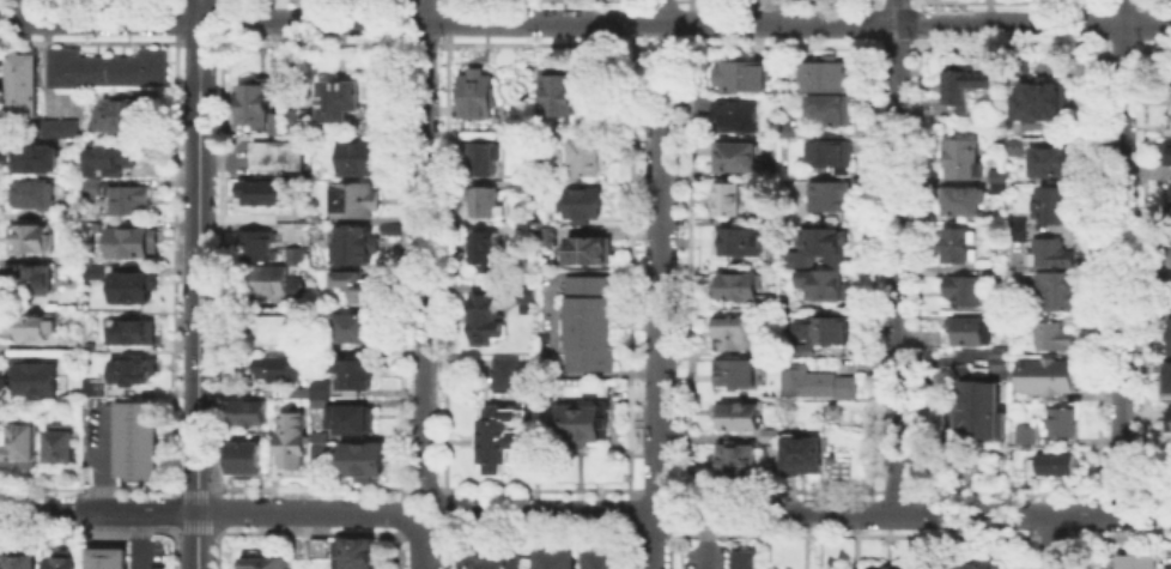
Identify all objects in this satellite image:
road: (201, 0)
road: (661, 11)
road: (585, 20)
road: (201, 40)
road: (193, 44)
road: (210, 44)
building: (1020, 60)
road: (638, 61)
road: (679, 63)
building: (104, 66)
building: (823, 73)
building: (742, 74)
building: (966, 80)
building: (26, 86)
building: (478, 92)
building: (560, 95)
building: (338, 98)
building: (253, 99)
building: (1040, 99)
building: (939, 105)
building: (830, 107)
building: (728, 110)
building: (127, 115)
building: (297, 116)
building: (590, 119)
building: (275, 121)
building: (59, 126)
building: (387, 126)
building: (1169, 126)
building: (791, 129)
building: (232, 131)
building: (387, 138)
building: (522, 139)
building: (618, 141)
building: (1017, 146)
building: (1166, 151)
building: (279, 153)
building: (831, 153)
parking lot: (238, 156)
building: (356, 156)
building: (483, 157)
building: (584, 157)
building: (733, 157)
building: (961, 157)
building: (1050, 159)
building: (38, 161)
road: (219, 161)
building: (111, 165)
building: (997, 174)
building: (527, 183)
building: (999, 186)
building: (262, 189)
building: (829, 193)
building: (35, 194)
building: (353, 196)
building: (727, 196)
building: (963, 198)
building: (484, 200)
building: (1170, 200)
building: (131, 201)
building: (582, 202)
building: (1051, 202)
building: (538, 212)
building: (769, 212)
building: (74, 214)
building: (1018, 222)
building: (95, 225)
building: (387, 225)
building: (524, 229)
building: (548, 234)
building: (1018, 234)
building: (741, 238)
building: (37, 240)
building: (354, 242)
road: (424, 243)
building: (957, 243)
building: (257, 244)
building: (133, 246)
building: (817, 246)
building: (587, 248)
building: (486, 249)
building: (1050, 252)
building: (1169, 253)
building: (295, 254)
road: (893, 256)
road: (1120, 258)
building: (1000, 273)
building: (275, 280)
building: (36, 282)
building: (354, 283)
building: (823, 283)
building: (738, 284)
building: (1060, 286)
building: (1167, 287)
building: (135, 289)
building: (963, 289)
building: (528, 292)
building: (767, 298)
building: (793, 303)
building: (484, 313)
parking lot: (551, 321)
road: (552, 321)
building: (588, 321)
building: (38, 327)
building: (356, 327)
building: (823, 327)
road: (196, 328)
building: (281, 328)
building: (734, 329)
building: (970, 329)
building: (1052, 333)
building: (134, 334)
building: (1169, 334)
road: (657, 337)
building: (92, 346)
building: (769, 346)
building: (1159, 346)
building: (805, 347)
building: (999, 350)
building: (769, 356)
building: (999, 362)
building: (281, 365)
building: (131, 369)
building: (734, 370)
building: (352, 373)
building: (505, 373)
building: (1049, 373)
building: (1163, 374)
building: (36, 379)
building: (815, 381)
building: (95, 385)
building: (318, 387)
building: (299, 389)
building: (317, 400)
building: (833, 408)
building: (248, 410)
building: (979, 410)
building: (739, 413)
building: (350, 416)
building: (581, 420)
building: (1060, 420)
building: (1169, 420)
building: (769, 434)
building: (1024, 434)
building: (318, 435)
building: (502, 435)
building: (291, 438)
building: (140, 441)
building: (65, 444)
building: (22, 448)
building: (317, 452)
building: (773, 452)
building: (800, 452)
building: (243, 456)
building: (363, 459)
building: (736, 459)
road: (107, 461)
building: (1054, 461)
road: (409, 500)
road: (436, 500)
road: (809, 512)
road: (216, 513)
road: (437, 525)
road: (138, 540)
road: (705, 540)
road: (1050, 541)
building: (317, 545)
building: (356, 551)
road: (420, 553)
parking lot: (706, 553)
building: (557, 557)
building: (605, 557)
building: (744, 557)
parking lot: (1166, 557)
building: (111, 559)
building: (491, 561)
parking lot: (1105, 561)
building: (1136, 561)
building: (23, 562)
building: (263, 562)
building: (68, 563)
building: (976, 565)
building: (885, 567)

